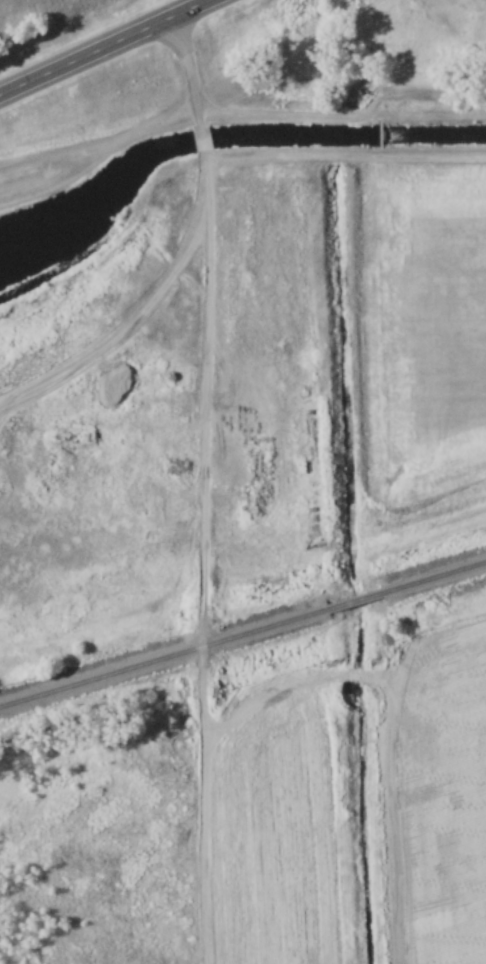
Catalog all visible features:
road: (106, 47)
road: (297, 119)
road: (205, 120)
road: (207, 168)
railway: (435, 575)
road: (205, 581)
railway: (355, 599)
railway: (163, 657)

